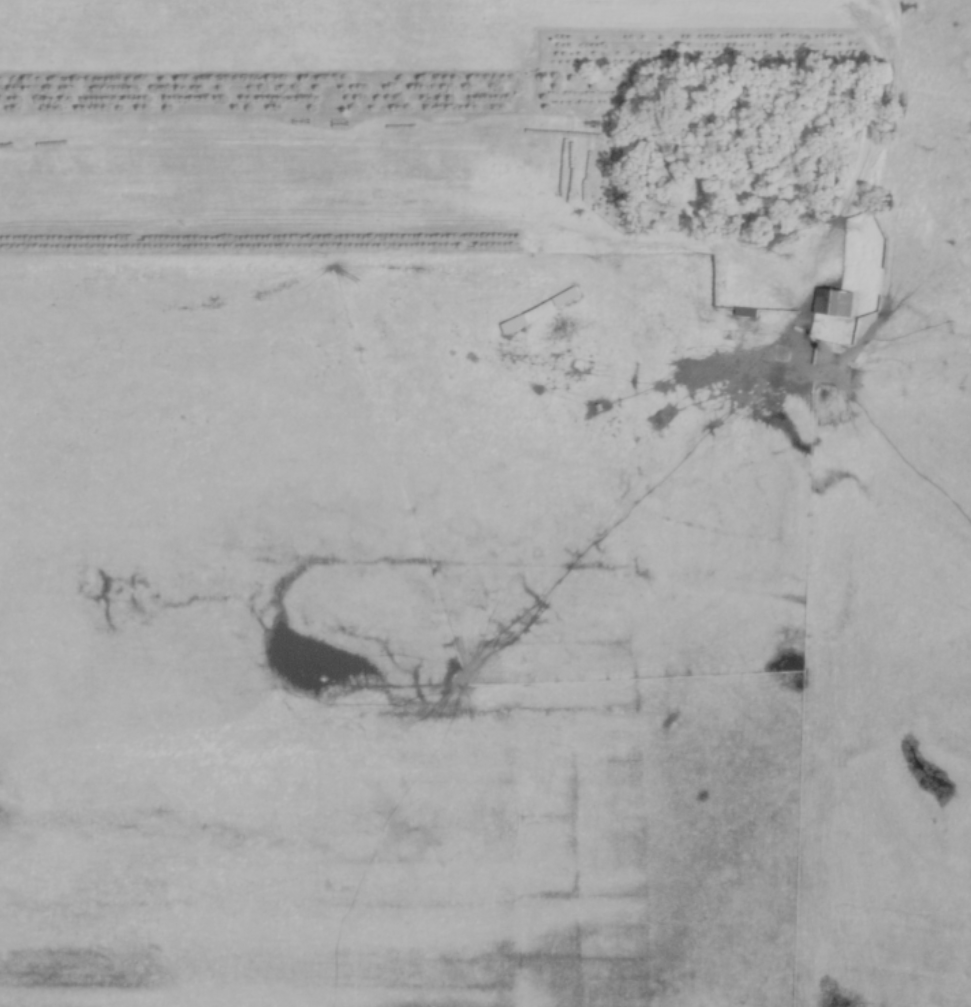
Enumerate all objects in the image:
road: (380, 250)
building: (831, 303)
building: (743, 312)

